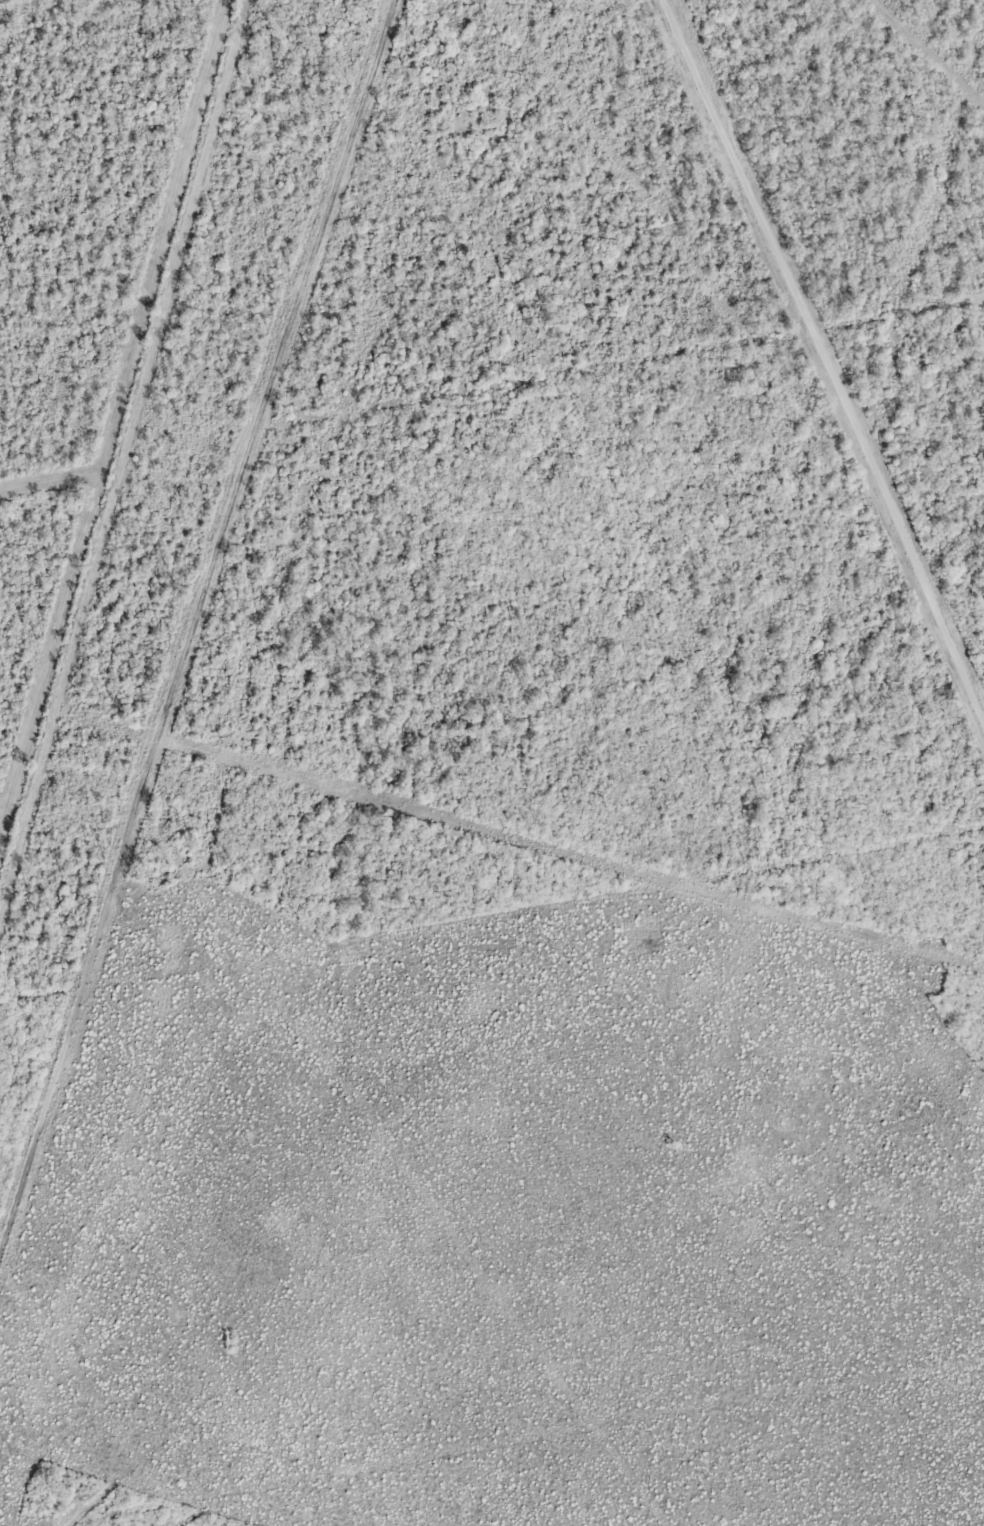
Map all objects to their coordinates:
road: (663, 8)
road: (825, 371)

